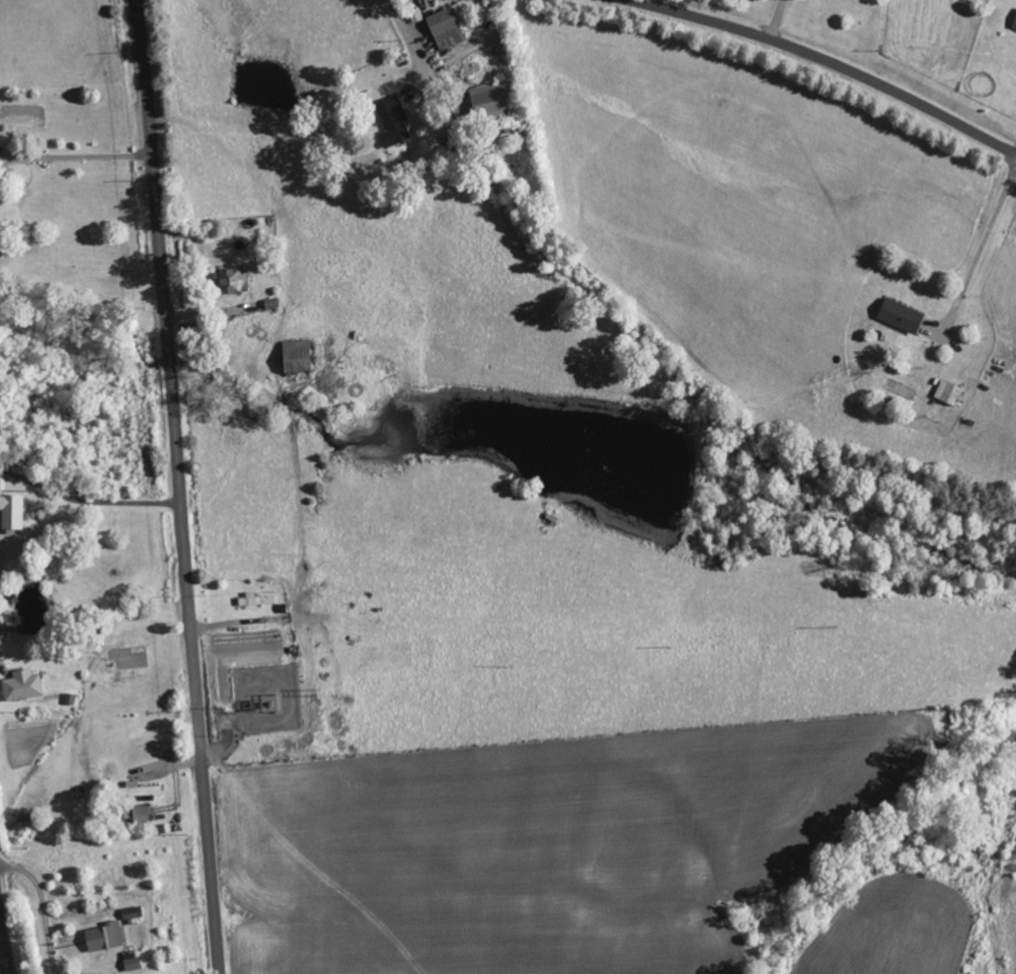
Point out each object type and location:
building: (452, 24)
building: (1015, 25)
road: (820, 59)
building: (493, 99)
building: (394, 121)
building: (233, 281)
building: (252, 307)
building: (902, 316)
building: (297, 356)
building: (949, 392)
road: (179, 486)
building: (13, 512)
building: (257, 600)
building: (23, 686)
building: (140, 791)
building: (141, 814)
building: (133, 913)
building: (106, 937)
road: (4, 951)
building: (133, 961)

